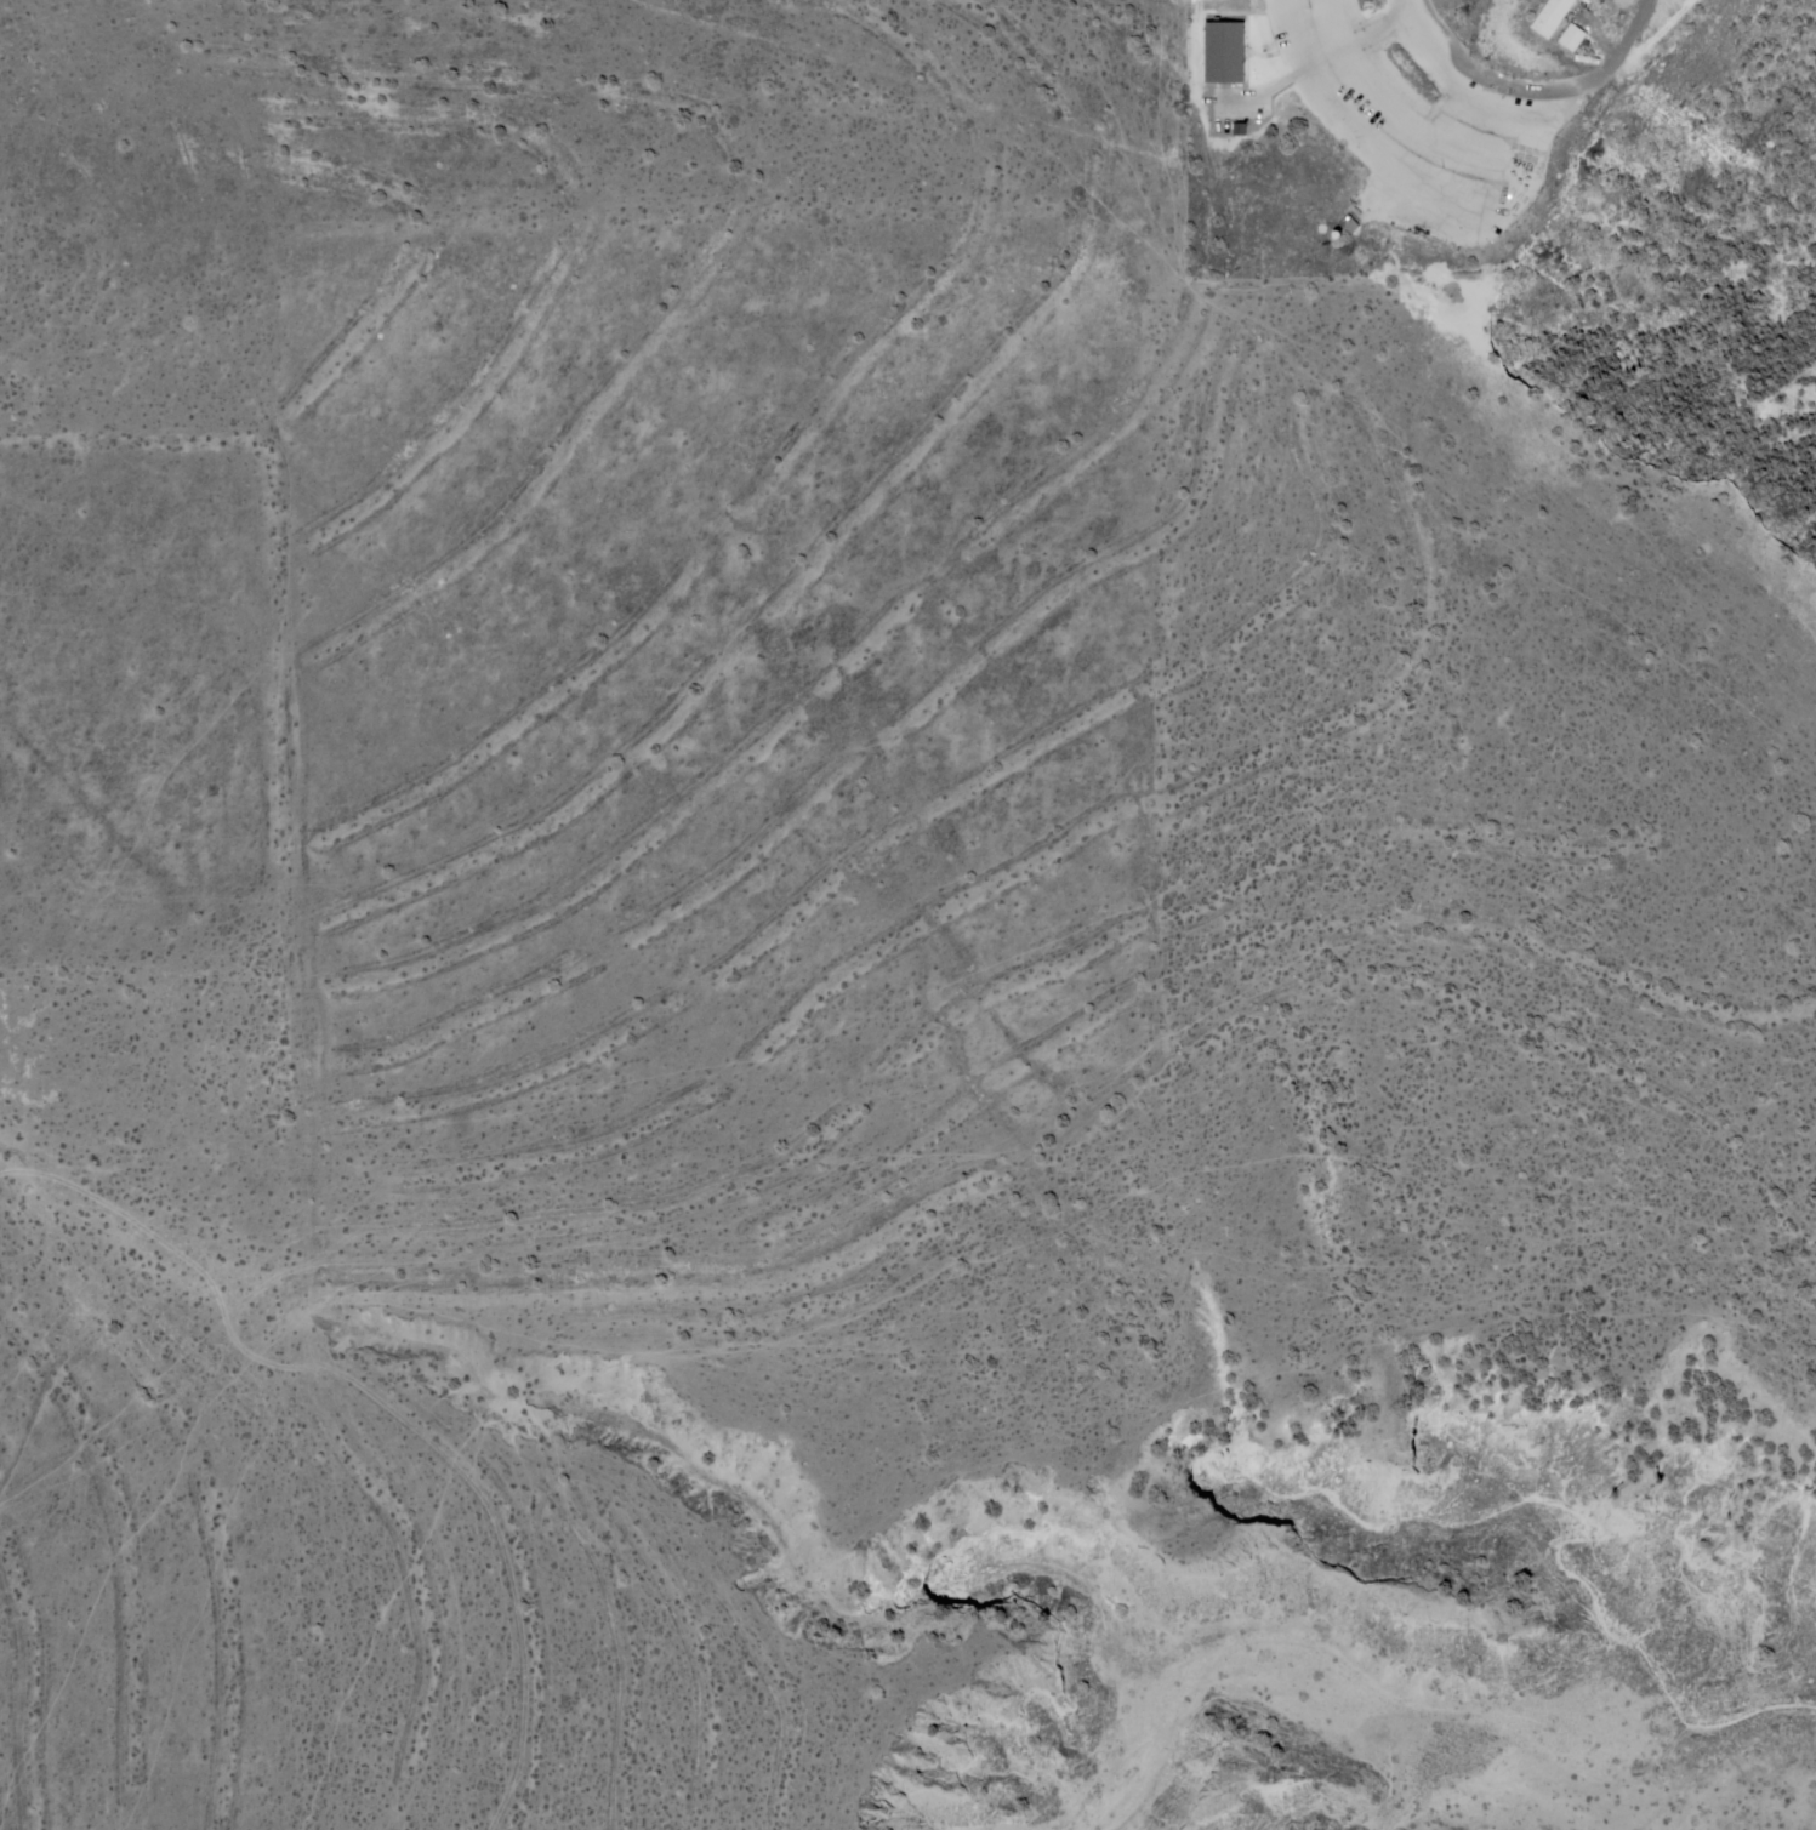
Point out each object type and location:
building: (1550, 17)
building: (1572, 38)
road: (1356, 41)
building: (1224, 52)
road: (1196, 58)
road: (1281, 84)
road: (1454, 84)
road: (1235, 103)
park: (1417, 124)
parking lot: (1408, 129)
building: (1240, 130)
building: (1349, 224)
building: (1338, 235)

